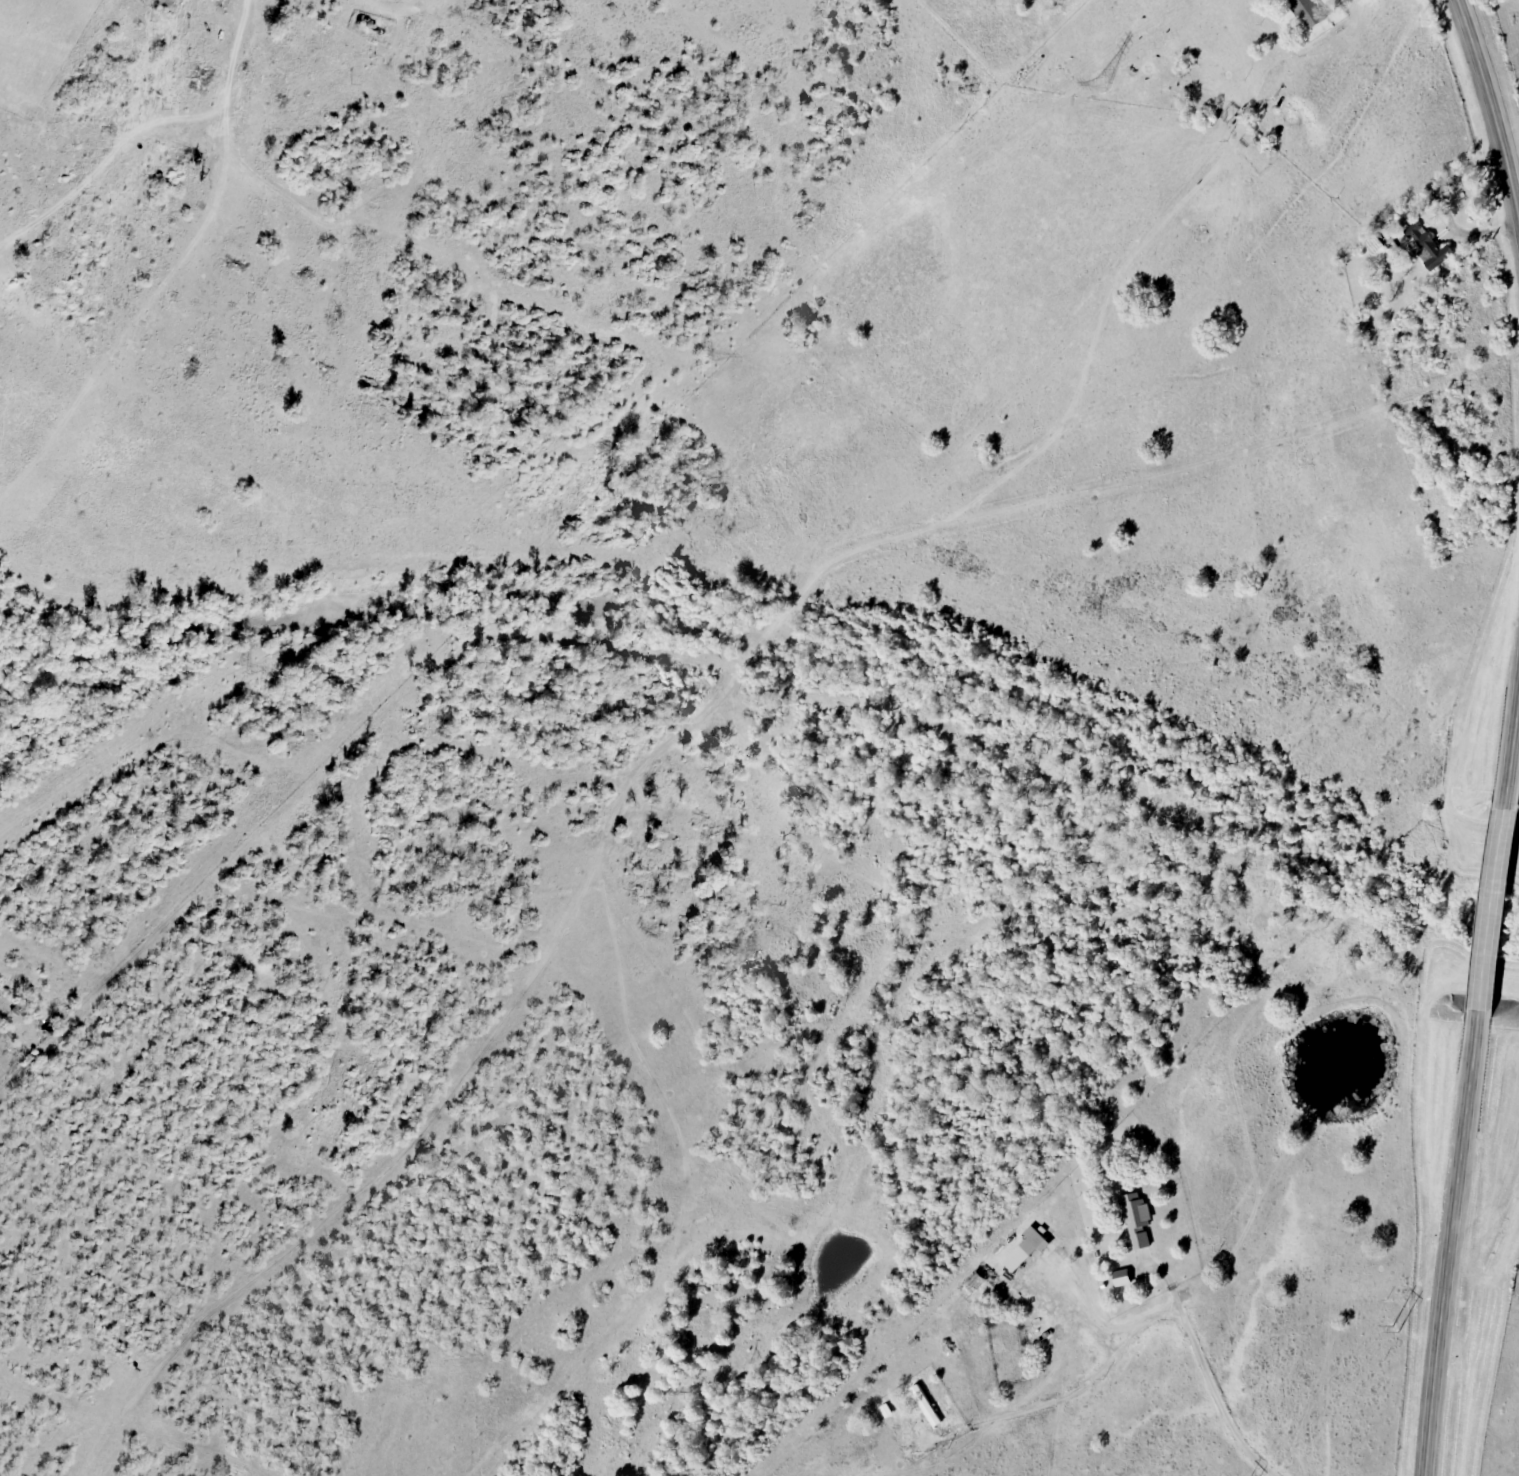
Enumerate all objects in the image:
road: (378, 5)
building: (1311, 12)
power tower: (1101, 85)
road: (1493, 109)
building: (1429, 246)
power tower: (704, 355)
power tower: (243, 668)
road: (1513, 758)
road: (1495, 909)
building: (1139, 1221)
road: (1450, 1242)
building: (1027, 1250)
building: (1124, 1279)
road: (1099, 1324)
power tower: (1394, 1330)
road: (1202, 1365)
building: (927, 1407)
road: (1034, 1409)

